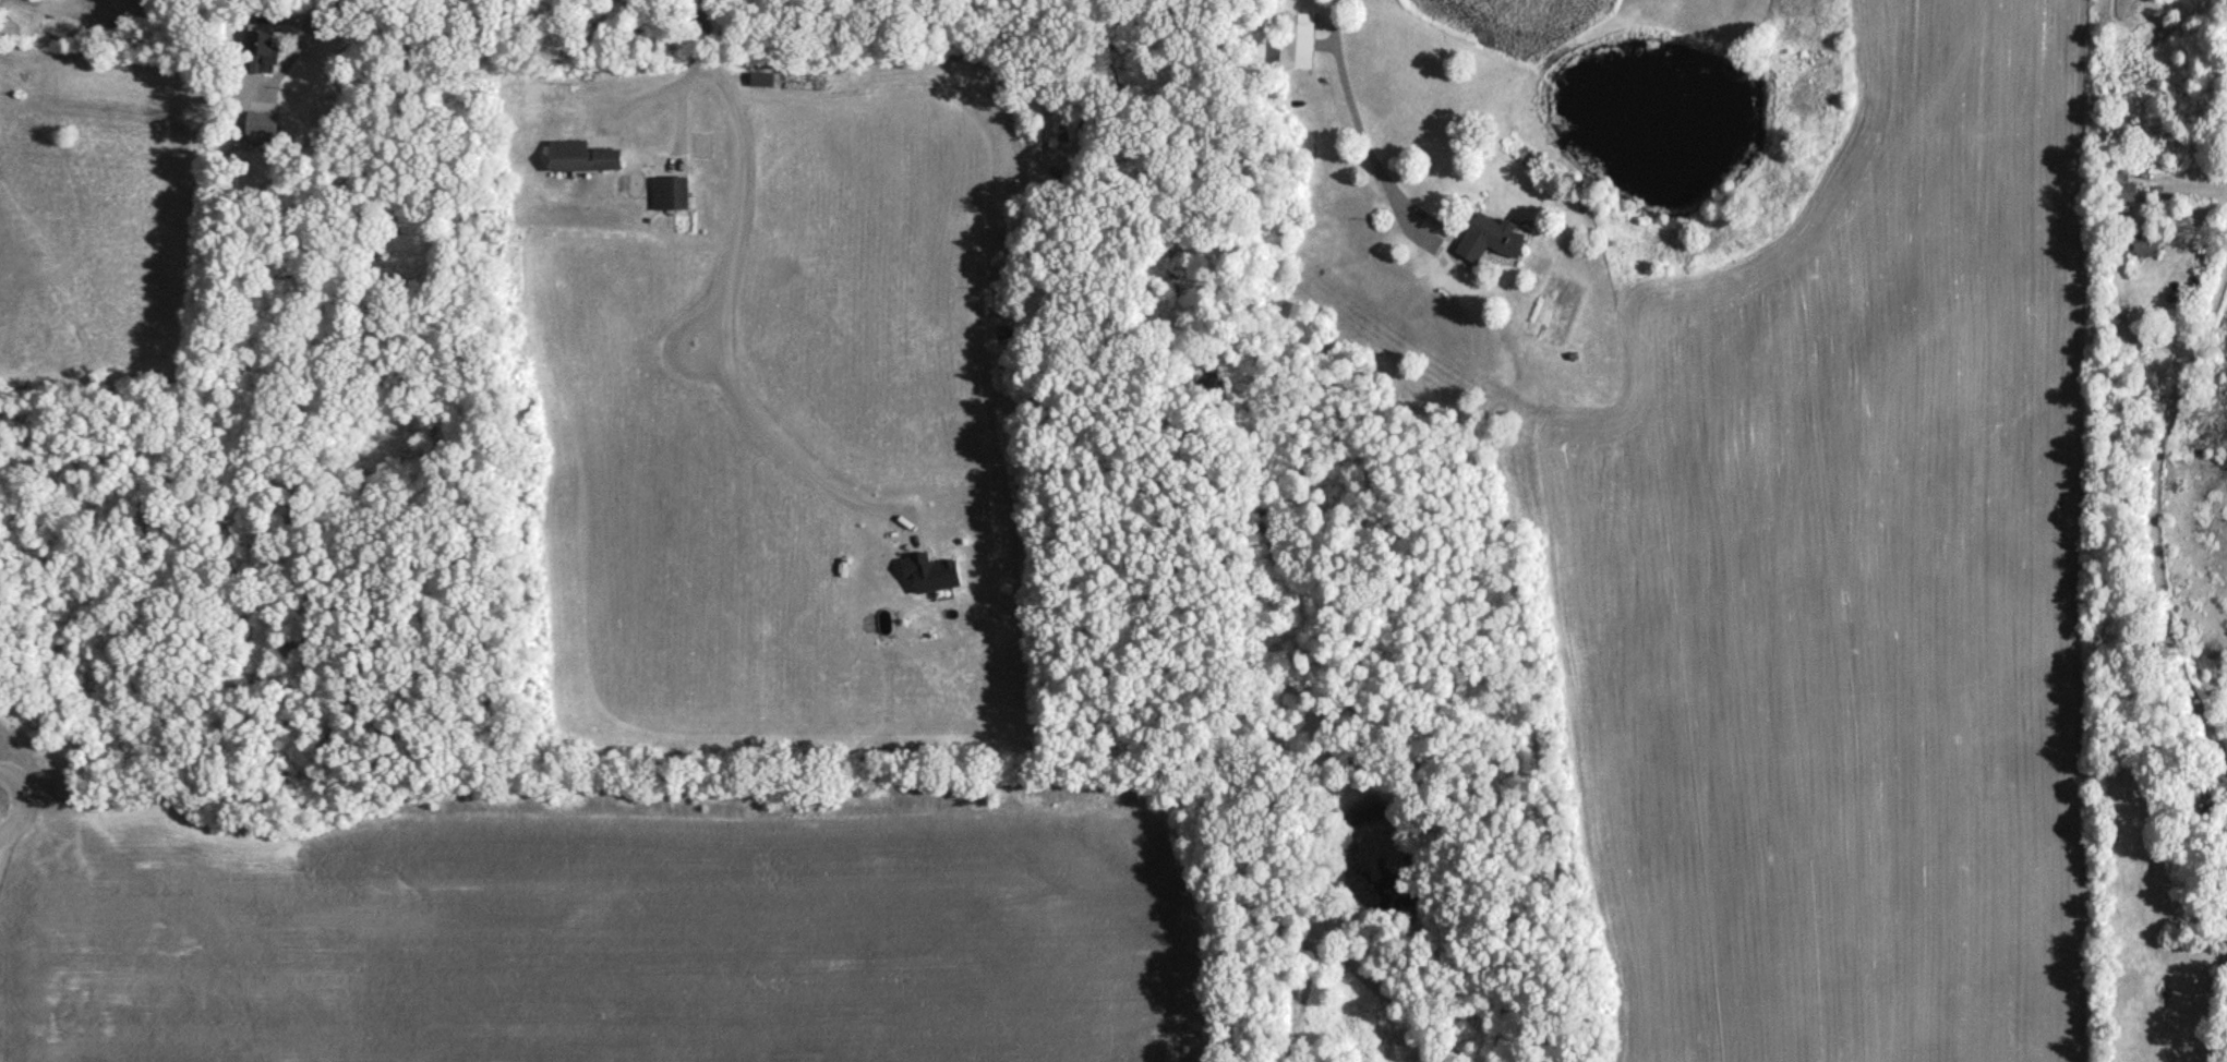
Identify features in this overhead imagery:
building: (31, 0)
road: (123, 24)
road: (304, 40)
building: (1299, 45)
building: (272, 50)
road: (649, 90)
road: (1359, 113)
building: (1049, 126)
building: (262, 130)
building: (585, 161)
building: (671, 167)
building: (2126, 196)
building: (672, 198)
building: (1493, 243)
building: (2150, 249)
road: (721, 306)
road: (2154, 523)

